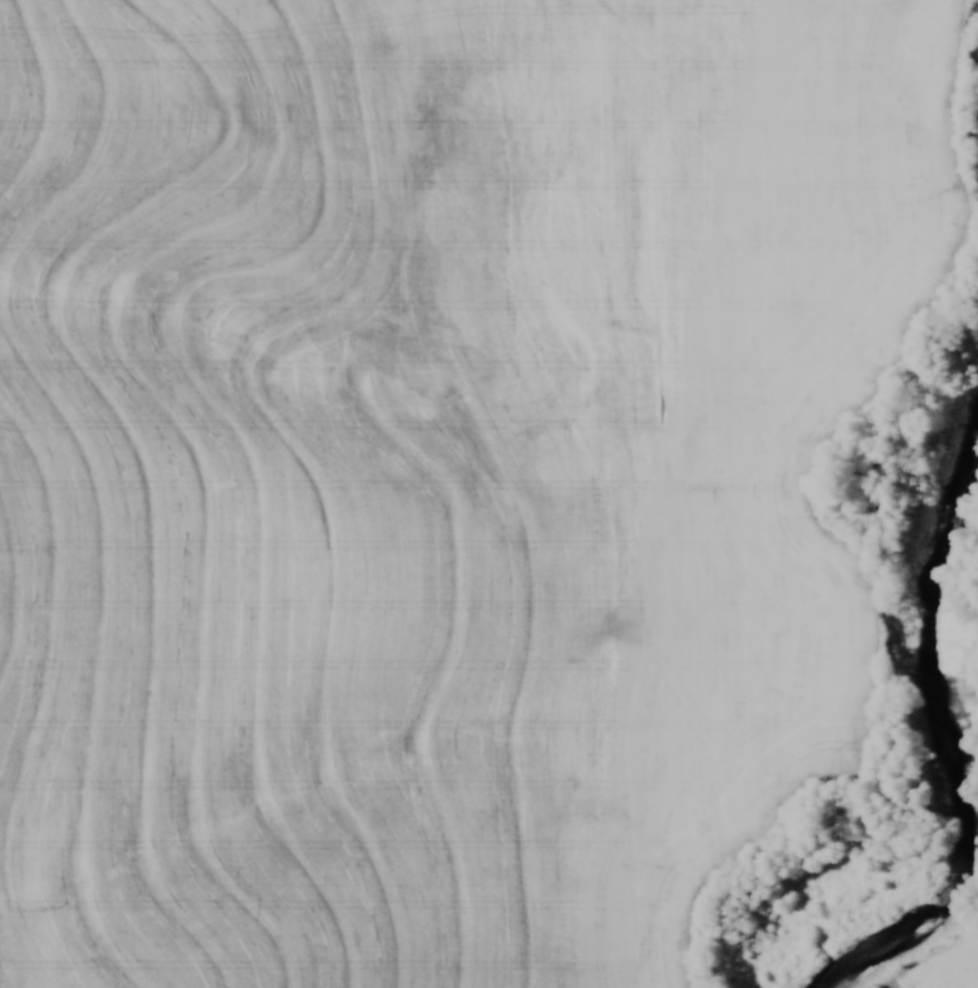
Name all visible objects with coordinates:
river: (945, 733)

